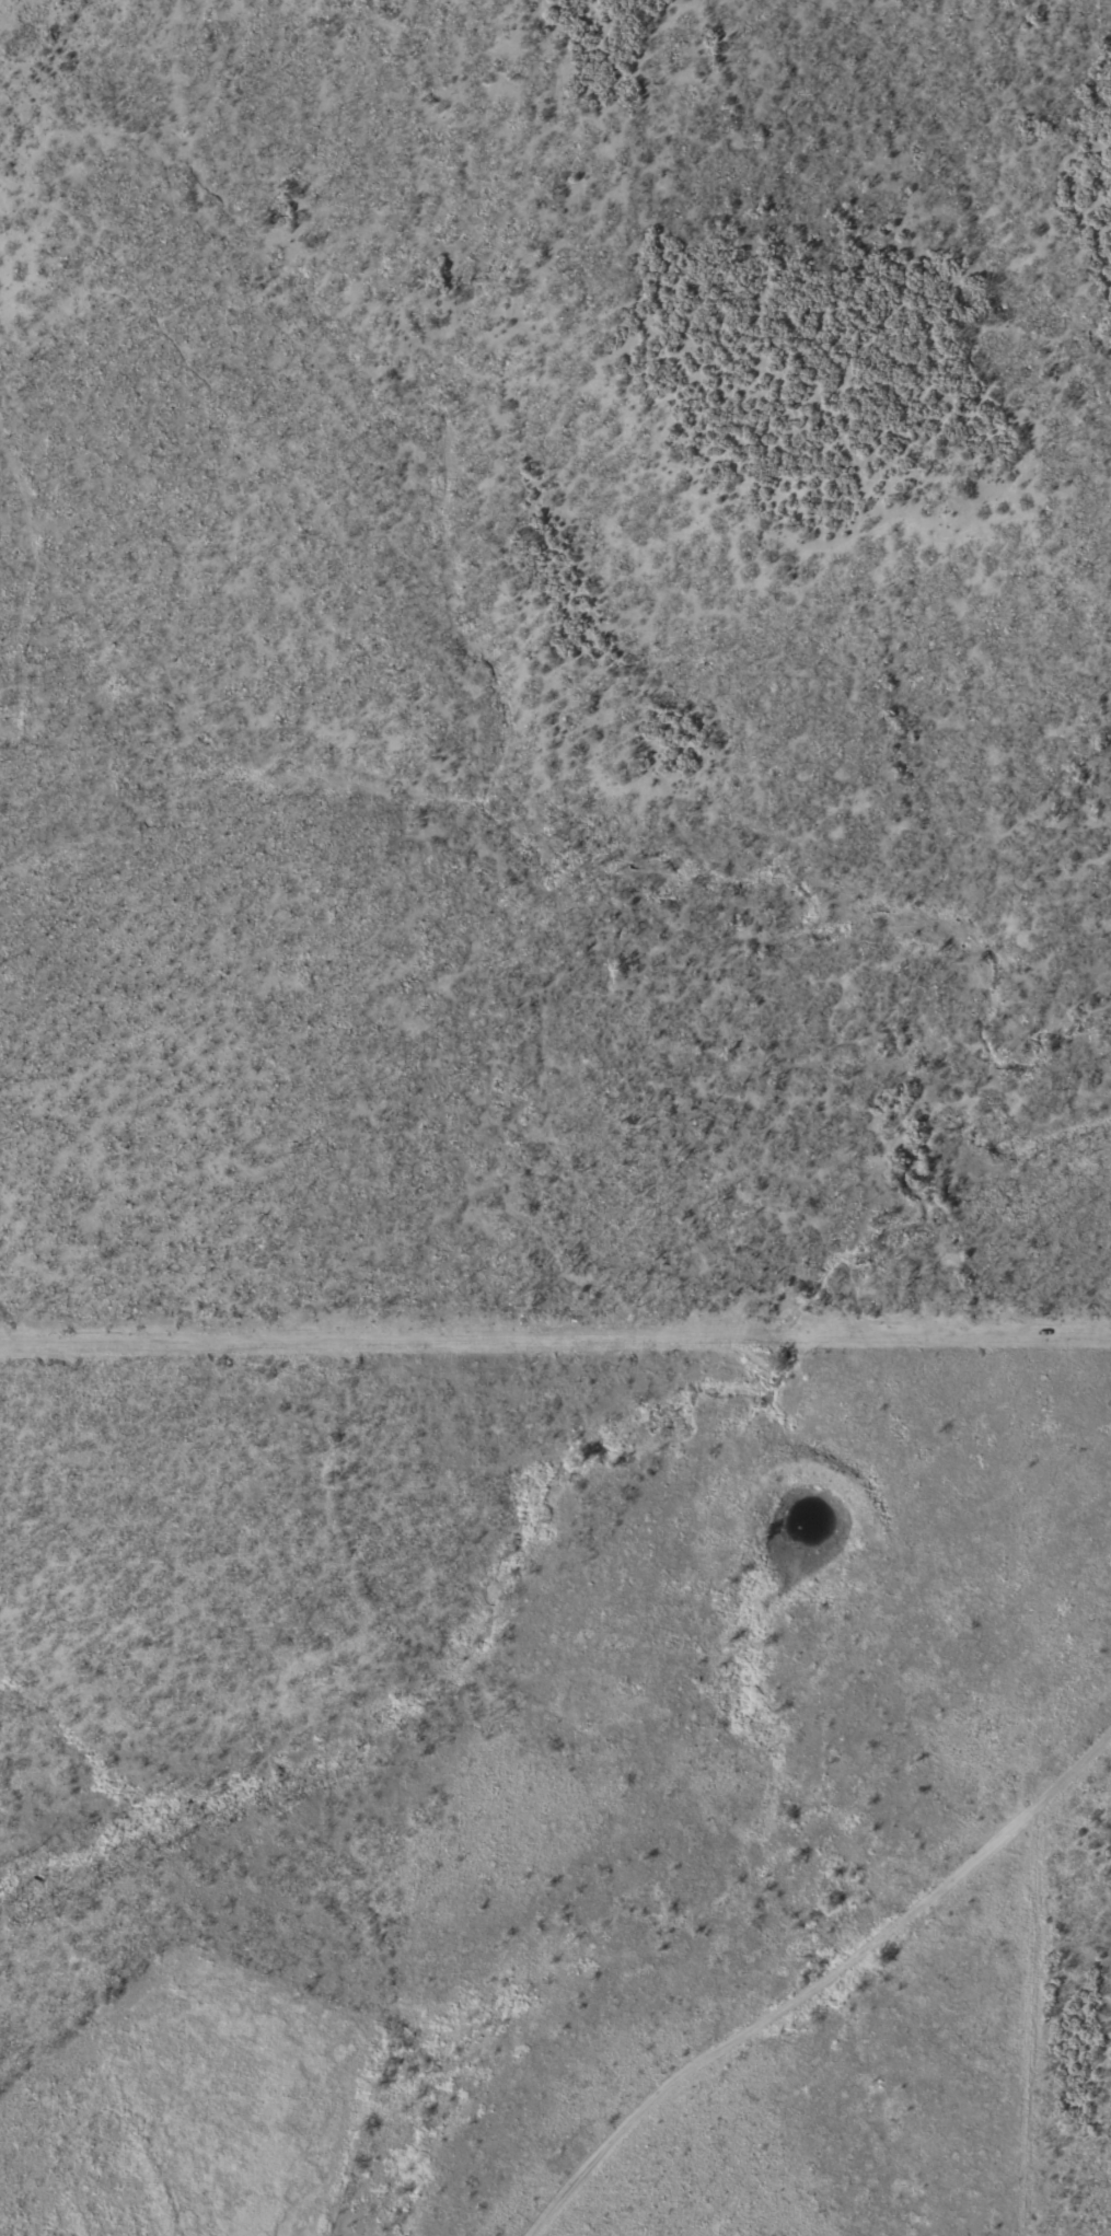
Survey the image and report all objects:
road: (845, 2001)

